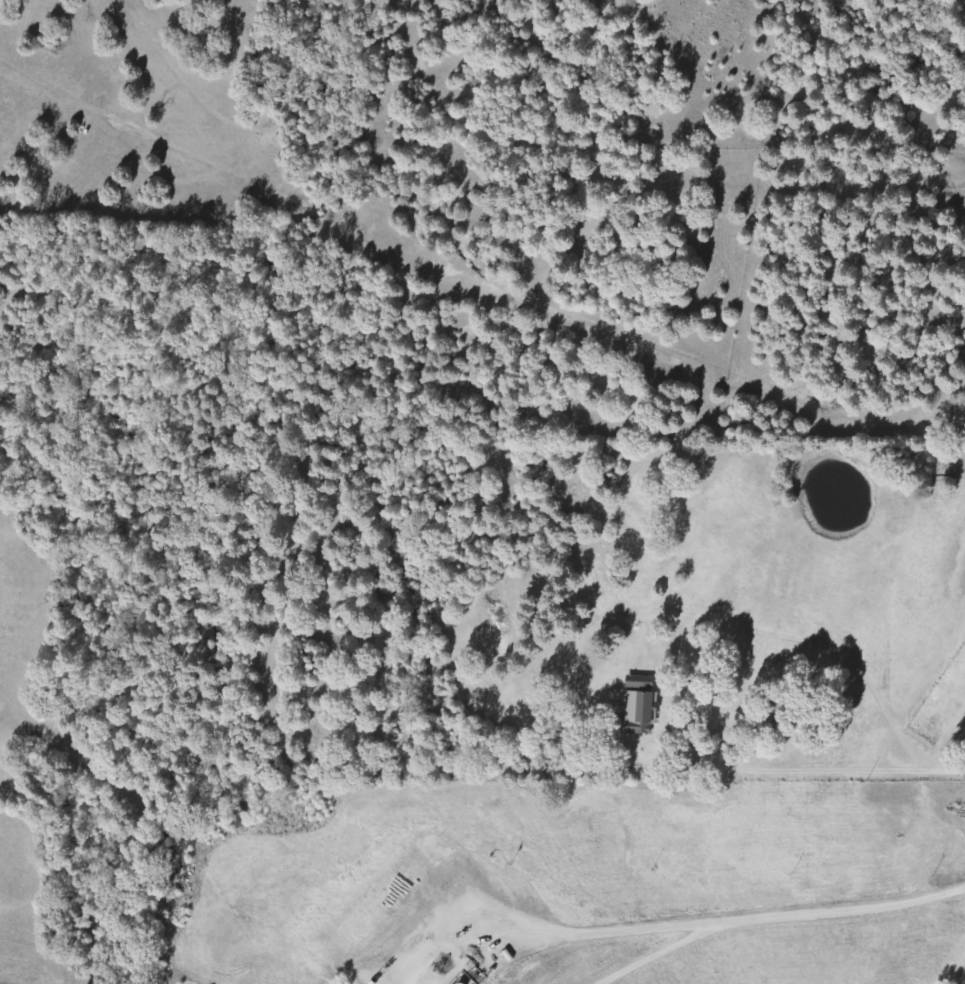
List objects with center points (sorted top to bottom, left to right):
building: (640, 706)

